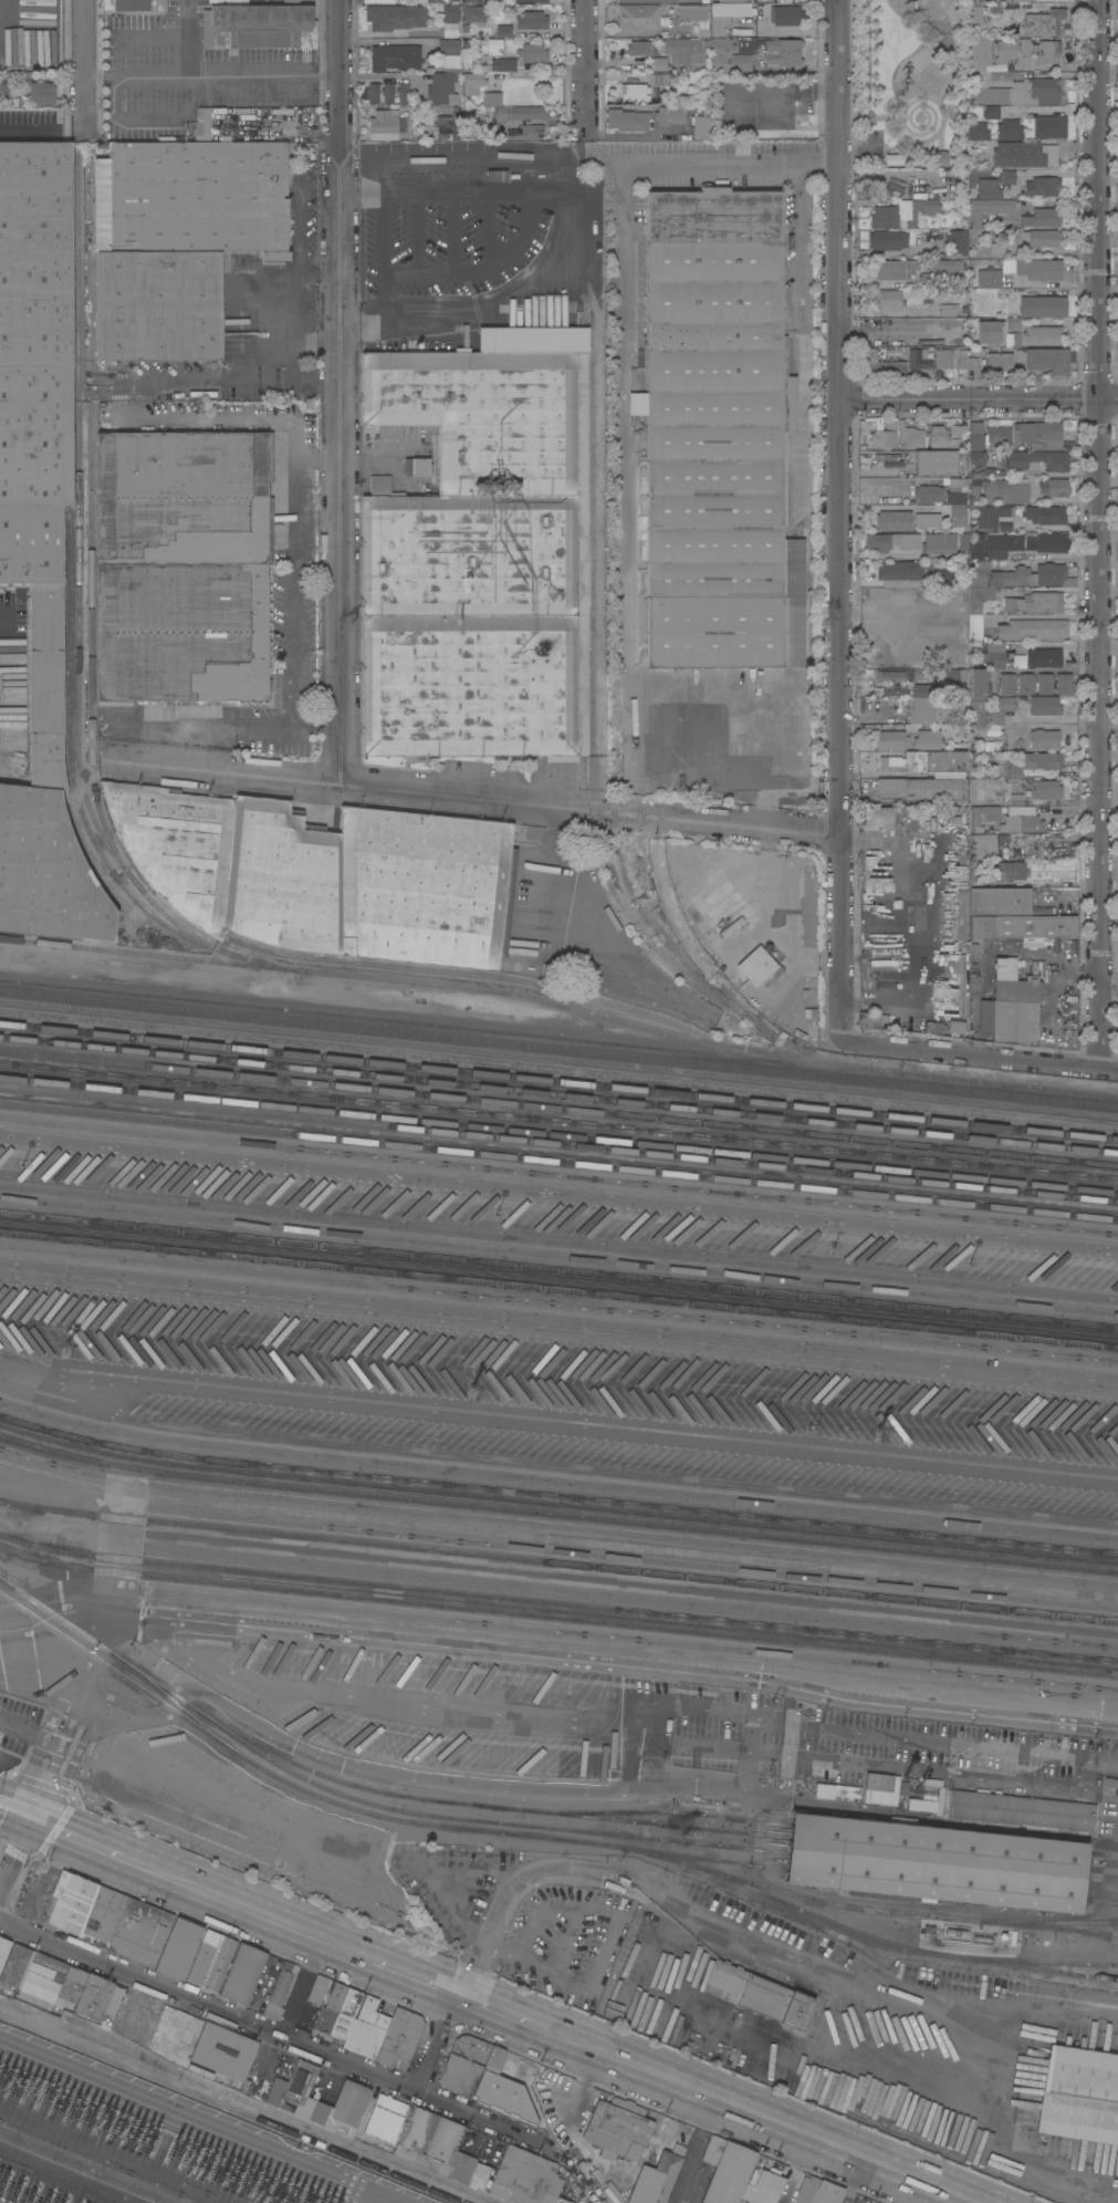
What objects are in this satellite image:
building: (531, 0)
building: (727, 0)
building: (1011, 0)
building: (379, 1)
building: (449, 1)
building: (648, 1)
building: (696, 1)
building: (291, 2)
building: (472, 2)
building: (134, 4)
building: (1028, 6)
building: (1117, 9)
building: (450, 12)
building: (692, 12)
building: (975, 13)
road: (27, 14)
building: (476, 14)
building: (786, 14)
building: (395, 15)
building: (638, 17)
building: (532, 20)
building: (1044, 21)
building: (258, 22)
building: (720, 27)
building: (502, 30)
building: (686, 30)
building: (448, 31)
road: (128, 32)
building: (702, 33)
road: (186, 38)
road: (390, 42)
building: (449, 45)
building: (491, 45)
building: (1024, 45)
building: (639, 46)
building: (685, 49)
building: (1005, 50)
building: (1046, 50)
building: (784, 51)
building: (532, 52)
building: (730, 54)
building: (396, 55)
building: (502, 63)
building: (659, 64)
road: (84, 69)
road: (584, 69)
road: (211, 74)
road: (383, 77)
building: (659, 79)
building: (445, 81)
building: (1006, 81)
building: (472, 83)
building: (42, 92)
building: (373, 92)
building: (388, 92)
building: (403, 92)
building: (635, 92)
building: (9, 93)
building: (492, 98)
building: (520, 112)
building: (992, 112)
building: (669, 114)
road: (127, 118)
building: (627, 118)
building: (206, 123)
road: (74, 124)
road: (31, 125)
building: (386, 125)
building: (446, 126)
building: (1049, 126)
building: (701, 127)
building: (1009, 128)
building: (976, 129)
building: (527, 132)
building: (471, 135)
building: (1024, 154)
building: (941, 157)
building: (894, 158)
building: (497, 175)
building: (1007, 176)
building: (1042, 186)
building: (988, 188)
road: (1098, 199)
road: (839, 200)
building: (989, 208)
building: (902, 212)
building: (1042, 217)
road: (574, 225)
building: (1042, 237)
building: (181, 239)
building: (887, 239)
building: (957, 240)
road: (380, 258)
building: (944, 264)
building: (991, 264)
building: (894, 268)
building: (1038, 268)
building: (928, 279)
building: (886, 299)
building: (1042, 305)
building: (947, 309)
road: (291, 310)
road: (802, 323)
building: (989, 331)
building: (1043, 336)
building: (959, 357)
building: (974, 357)
building: (928, 358)
building: (1044, 358)
building: (1000, 361)
road: (621, 365)
building: (878, 365)
road: (341, 392)
road: (979, 399)
road: (242, 415)
building: (1037, 434)
building: (718, 435)
building: (898, 435)
building: (970, 436)
building: (1037, 459)
building: (934, 463)
building: (416, 466)
road: (1048, 472)
building: (993, 481)
building: (957, 482)
building: (1054, 486)
building: (928, 492)
building: (955, 497)
building: (1045, 513)
building: (992, 515)
building: (958, 517)
road: (317, 519)
building: (924, 519)
building: (894, 521)
railway: (93, 527)
building: (1004, 527)
building: (39, 537)
building: (892, 541)
building: (939, 543)
building: (1014, 543)
building: (480, 552)
road: (901, 554)
road: (1058, 555)
building: (182, 565)
building: (905, 573)
building: (948, 576)
railway: (81, 582)
building: (974, 599)
building: (1035, 602)
railway: (642, 605)
road: (6, 616)
building: (1034, 628)
road: (1054, 645)
building: (994, 654)
building: (1045, 657)
road: (1038, 671)
building: (901, 674)
road: (291, 675)
building: (955, 680)
building: (978, 682)
building: (1044, 682)
building: (1006, 683)
building: (1025, 683)
building: (1064, 683)
building: (896, 689)
building: (927, 689)
building: (1044, 704)
building: (934, 708)
building: (990, 708)
road: (840, 719)
road: (1100, 732)
building: (891, 737)
building: (927, 738)
building: (1044, 738)
building: (936, 760)
building: (890, 763)
building: (1031, 763)
railway: (596, 765)
road: (730, 776)
building: (921, 788)
building: (1046, 789)
building: (976, 792)
building: (1013, 794)
railway: (79, 798)
road: (473, 798)
building: (990, 812)
building: (894, 819)
building: (975, 819)
building: (1022, 820)
building: (985, 844)
building: (234, 863)
building: (1012, 870)
building: (425, 886)
building: (1000, 901)
building: (961, 915)
railway: (646, 916)
building: (1023, 926)
building: (754, 965)
railway: (466, 973)
railway: (395, 979)
building: (1014, 981)
road: (1109, 984)
building: (960, 985)
railway: (731, 993)
building: (869, 1019)
building: (1009, 1019)
building: (957, 1026)
building: (932, 1027)
railway: (558, 1036)
railway: (558, 1048)
road: (981, 1056)
railway: (558, 1059)
railway: (558, 1081)
railway: (558, 1094)
railway: (558, 1106)
railway: (558, 1120)
railway: (558, 1134)
railway: (558, 1143)
railway: (558, 1161)
road: (558, 1192)
railway: (558, 1270)
railway: (558, 1288)
railway: (556, 1495)
railway: (556, 1514)
road: (119, 1550)
railway: (558, 1563)
railway: (557, 1603)
railway: (60, 1615)
railway: (557, 1617)
road: (77, 1649)
road: (614, 1664)
road: (72, 1690)
road: (117, 1698)
road: (389, 1704)
railway: (181, 1705)
road: (90, 1706)
road: (21, 1731)
road: (44, 1734)
road: (62, 1740)
road: (857, 1742)
road: (715, 1747)
road: (654, 1762)
road: (362, 1768)
road: (824, 1771)
road: (1088, 1771)
building: (879, 1781)
building: (1110, 1781)
building: (847, 1790)
road: (33, 1796)
railway: (482, 1805)
road: (250, 1808)
road: (13, 1809)
building: (1020, 1810)
railway: (363, 1811)
railway: (658, 1811)
traffic signals: (28, 1816)
railway: (433, 1816)
railway: (1103, 1853)
road: (13, 1854)
road: (133, 1859)
building: (937, 1862)
railway: (1103, 1869)
railway: (1101, 1884)
railway: (1100, 1900)
railway: (856, 1906)
building: (84, 1908)
road: (713, 1921)
railway: (1049, 1921)
building: (139, 1931)
railway: (1090, 1933)
railway: (902, 1944)
road: (348, 1947)
building: (3, 1949)
building: (179, 1949)
building: (211, 1960)
railway: (1036, 1962)
building: (14, 1964)
building: (242, 1973)
building: (279, 1977)
road: (468, 1979)
building: (73, 1984)
building: (317, 1988)
building: (757, 1994)
building: (328, 2009)
building: (822, 2012)
building: (345, 2014)
building: (366, 2028)
road: (280, 2036)
building: (399, 2038)
road: (437, 2043)
building: (471, 2047)
building: (223, 2050)
road: (662, 2077)
building: (300, 2082)
road: (984, 2082)
building: (488, 2084)
building: (1079, 2095)
building: (349, 2102)
railway: (242, 2103)
building: (385, 2117)
building: (617, 2128)
building: (438, 2148)
building: (725, 2169)
building: (657, 2176)
building: (526, 2178)
road: (918, 2182)
building: (763, 2188)
building: (805, 2188)
building: (827, 2193)
road: (916, 2193)
road: (12, 2197)
railway: (481, 2202)

